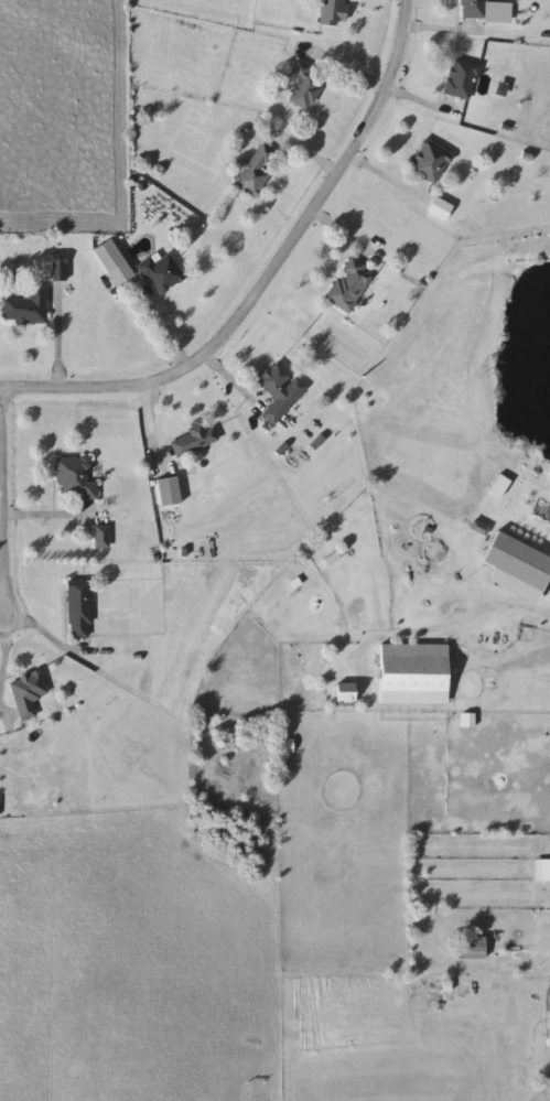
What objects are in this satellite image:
building: (472, 9)
building: (333, 12)
road: (444, 33)
road: (347, 74)
building: (461, 79)
building: (308, 83)
road: (304, 152)
building: (430, 161)
building: (257, 170)
road: (389, 182)
road: (344, 237)
building: (114, 263)
building: (58, 269)
building: (162, 272)
road: (269, 277)
building: (349, 285)
building: (28, 306)
road: (161, 332)
road: (57, 337)
road: (226, 376)
road: (1, 388)
building: (280, 390)
road: (150, 428)
building: (195, 438)
road: (2, 469)
building: (74, 477)
building: (499, 485)
building: (169, 492)
road: (4, 499)
road: (53, 518)
road: (2, 548)
building: (517, 561)
building: (79, 611)
road: (3, 612)
road: (436, 624)
road: (51, 638)
road: (4, 658)
building: (413, 674)
building: (28, 693)
building: (542, 870)
building: (471, 948)
road: (521, 953)

